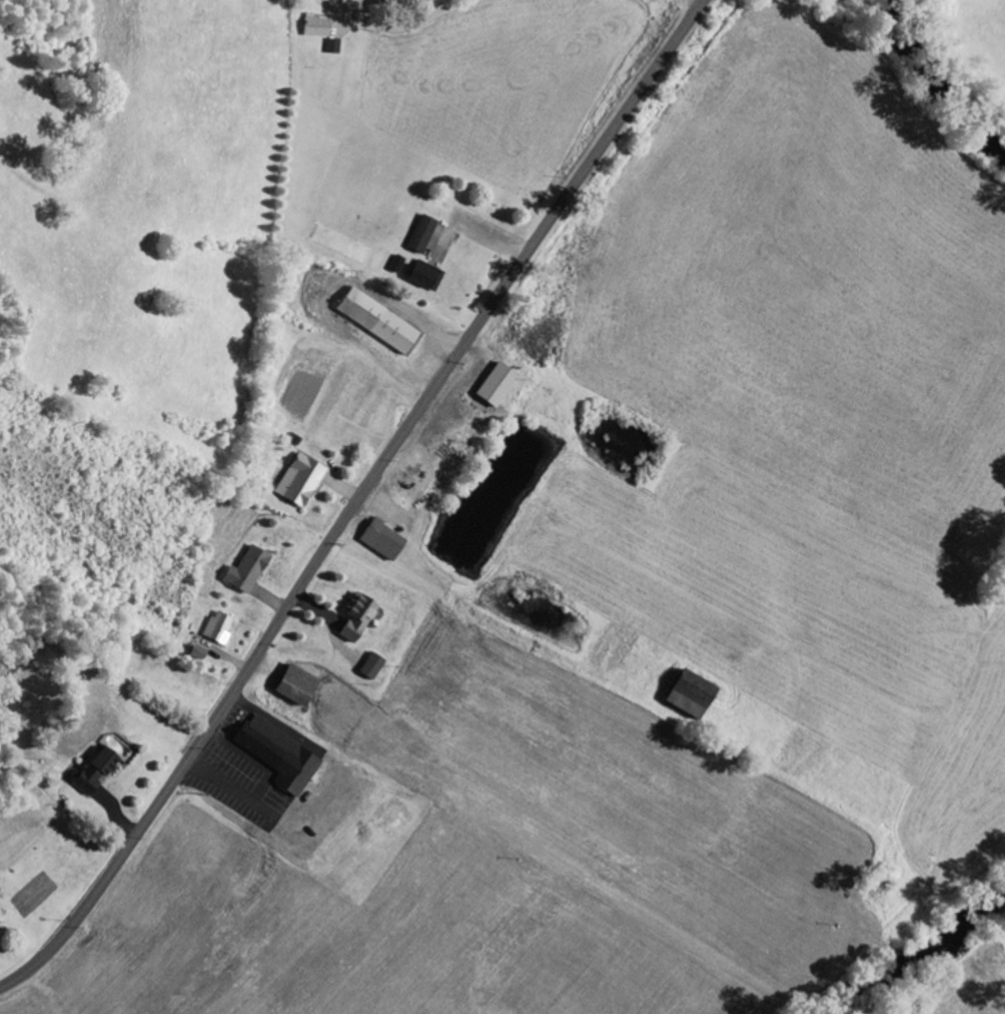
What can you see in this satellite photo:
building: (316, 27)
road: (403, 27)
building: (333, 47)
river: (941, 83)
building: (420, 235)
building: (396, 265)
building: (421, 276)
building: (377, 321)
building: (495, 385)
building: (299, 481)
road: (357, 500)
building: (381, 541)
building: (246, 571)
building: (355, 617)
building: (217, 629)
building: (371, 667)
building: (294, 686)
building: (687, 695)
building: (277, 755)
building: (92, 772)
river: (916, 953)

